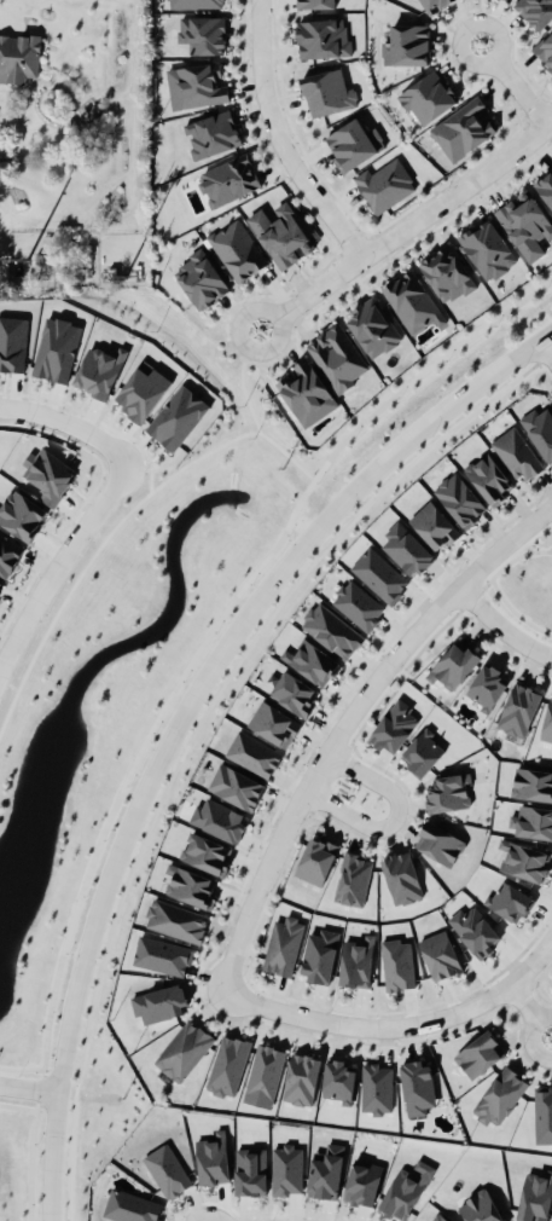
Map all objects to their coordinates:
building: (196, 2)
building: (316, 4)
building: (434, 5)
building: (535, 11)
building: (202, 33)
building: (323, 36)
building: (407, 45)
building: (545, 48)
building: (18, 56)
road: (515, 82)
building: (196, 85)
building: (327, 92)
building: (425, 94)
building: (463, 128)
building: (213, 133)
road: (280, 140)
building: (354, 143)
building: (225, 178)
building: (384, 184)
building: (545, 186)
building: (525, 222)
road: (406, 226)
building: (281, 235)
building: (484, 247)
building: (237, 249)
building: (447, 273)
building: (201, 279)
building: (412, 300)
building: (372, 326)
building: (12, 342)
building: (54, 345)
road: (546, 348)
building: (337, 355)
building: (99, 370)
building: (141, 389)
building: (307, 393)
building: (175, 412)
building: (540, 429)
building: (517, 453)
building: (48, 473)
building: (488, 476)
building: (460, 499)
road: (94, 502)
building: (21, 513)
building: (434, 525)
building: (407, 549)
building: (8, 554)
building: (379, 574)
building: (0, 581)
building: (358, 604)
road: (208, 623)
road: (501, 626)
building: (331, 630)
building: (312, 661)
building: (454, 664)
road: (205, 669)
building: (486, 685)
building: (294, 693)
building: (519, 710)
building: (546, 718)
road: (345, 721)
building: (273, 723)
building: (394, 727)
building: (252, 753)
building: (423, 753)
building: (531, 783)
building: (236, 787)
building: (448, 792)
building: (216, 815)
road: (395, 817)
building: (531, 821)
building: (440, 843)
building: (203, 850)
building: (313, 857)
building: (524, 861)
building: (401, 878)
building: (353, 879)
building: (190, 885)
building: (509, 901)
building: (175, 920)
building: (475, 930)
building: (284, 945)
building: (318, 950)
building: (162, 954)
building: (440, 955)
building: (356, 962)
building: (397, 964)
building: (156, 999)
road: (530, 1009)
road: (399, 1025)
building: (480, 1049)
building: (181, 1051)
building: (228, 1064)
building: (263, 1075)
building: (302, 1075)
building: (338, 1075)
building: (418, 1082)
building: (376, 1083)
road: (29, 1084)
building: (500, 1092)
road: (28, 1106)
building: (542, 1111)
building: (213, 1158)
building: (248, 1165)
building: (165, 1167)
building: (286, 1168)
building: (326, 1170)
road: (46, 1174)
building: (361, 1179)
building: (405, 1190)
building: (534, 1192)
building: (129, 1205)
building: (482, 1206)
building: (440, 1216)

